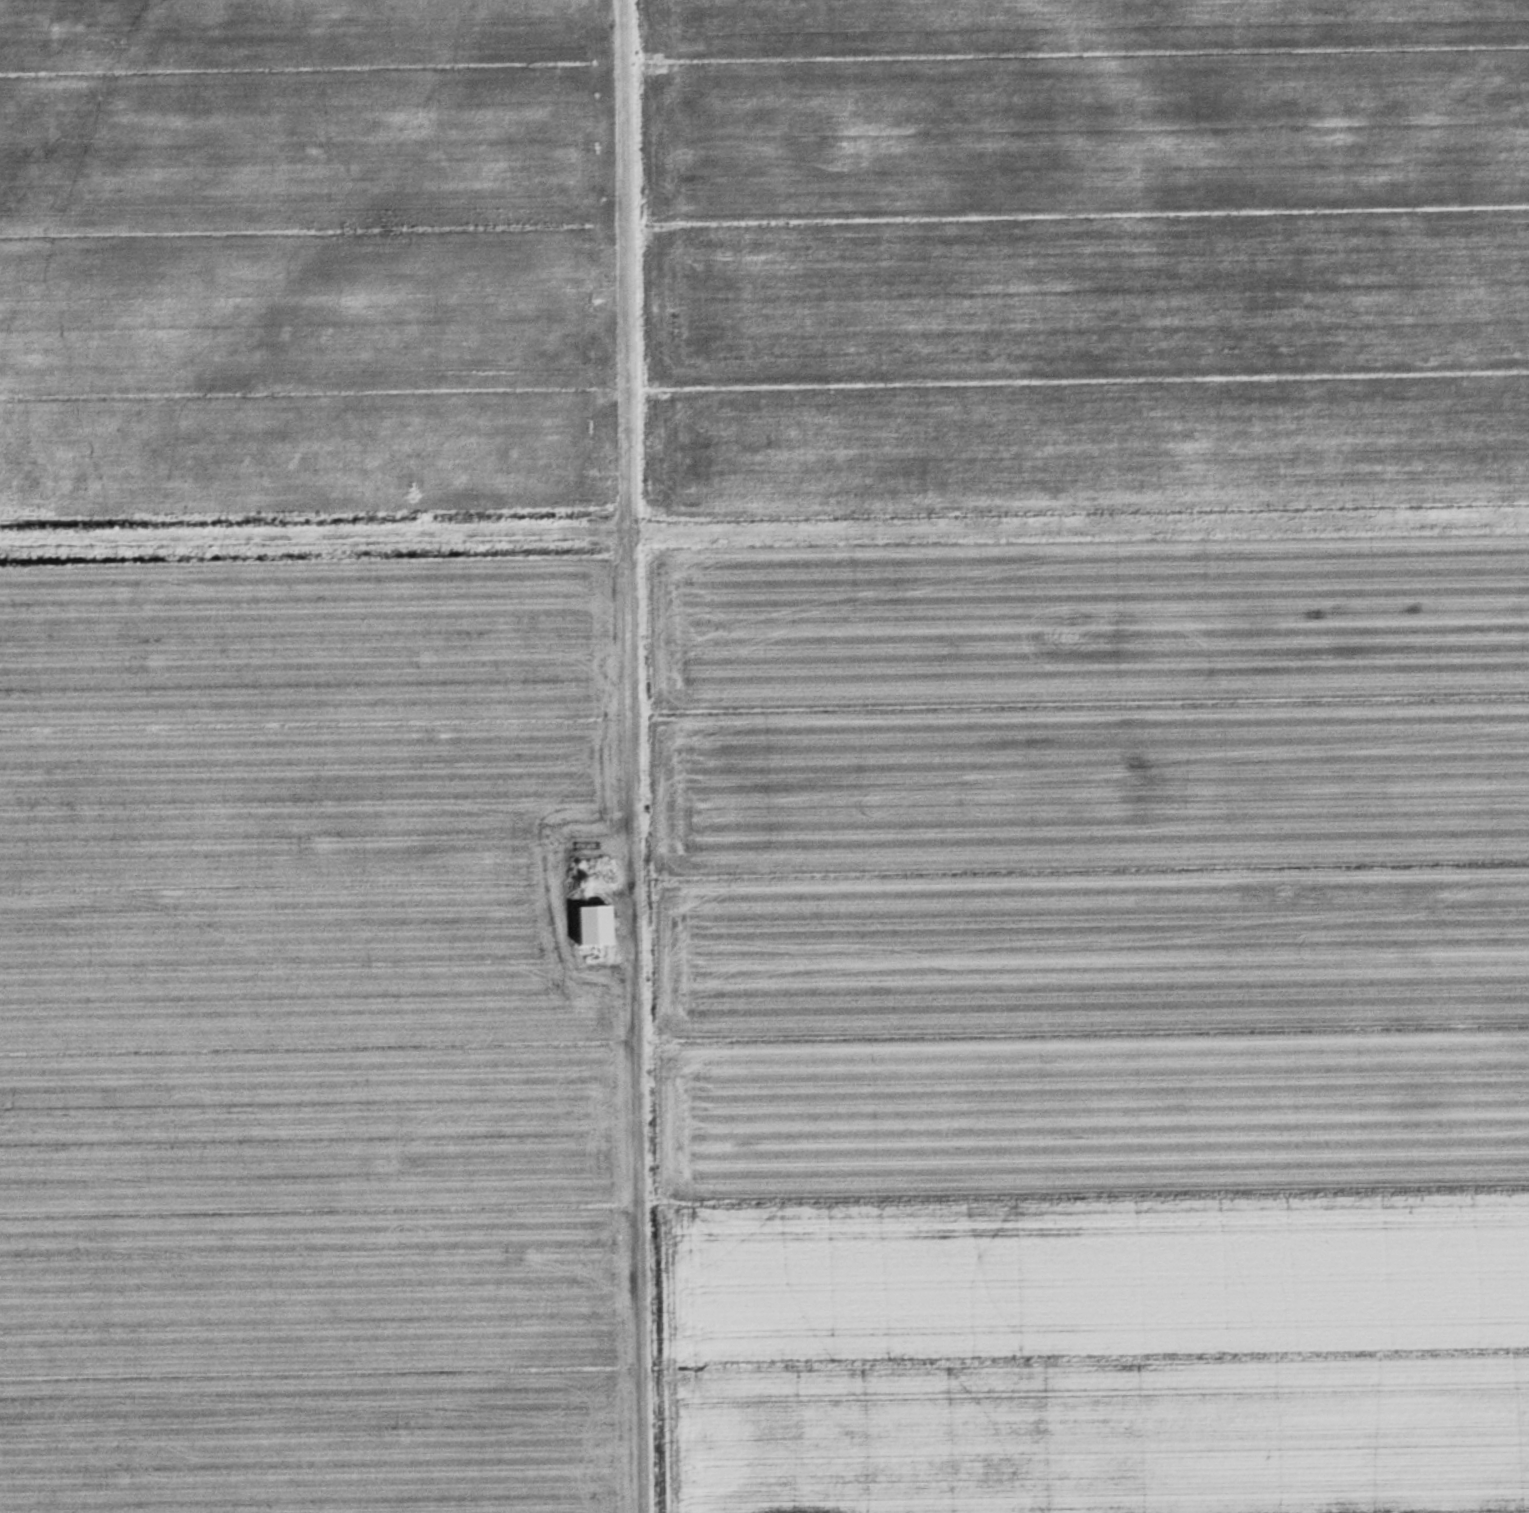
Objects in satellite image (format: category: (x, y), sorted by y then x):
crop: (1085, 254)
crop: (308, 256)

